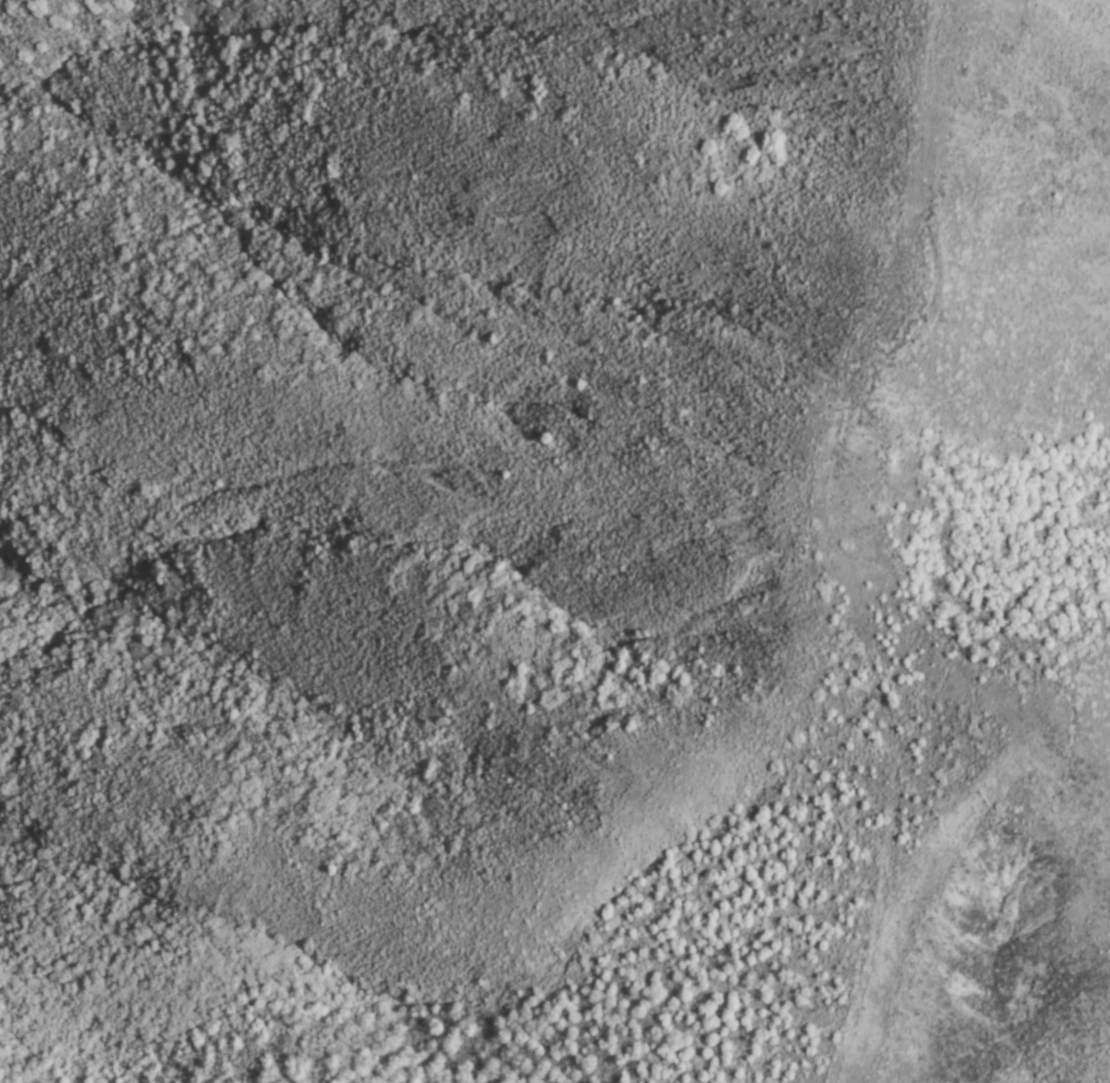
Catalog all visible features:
road: (822, 528)

